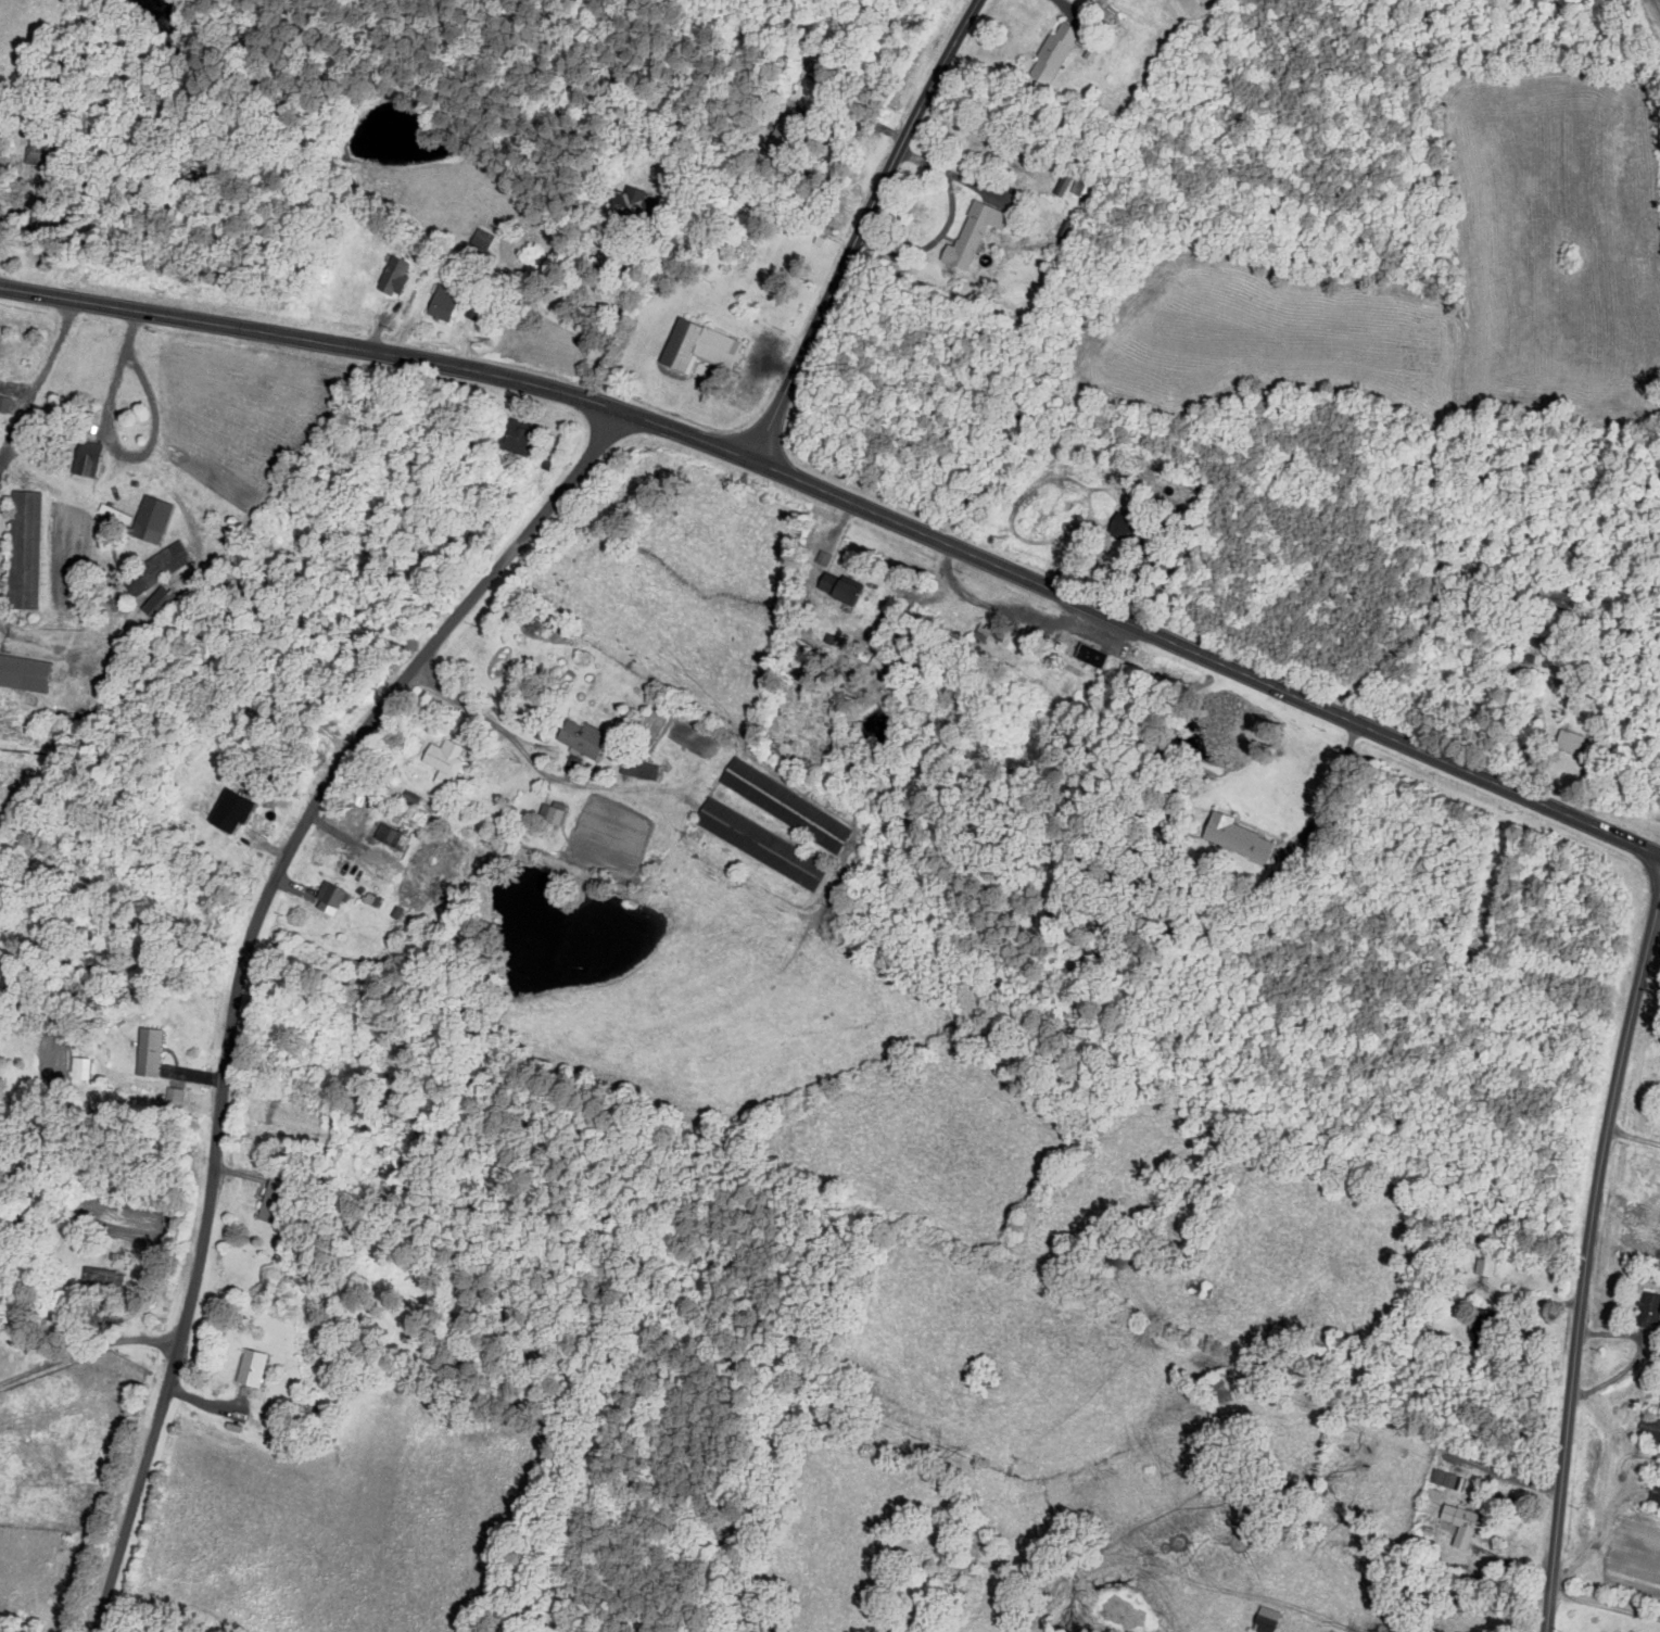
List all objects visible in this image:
solar farm: (1659, 2)
building: (1051, 52)
building: (625, 202)
road: (867, 232)
building: (970, 233)
building: (481, 239)
building: (393, 275)
building: (439, 306)
building: (697, 346)
road: (385, 349)
building: (3, 403)
building: (511, 434)
building: (85, 457)
building: (150, 519)
building: (23, 549)
building: (151, 572)
building: (837, 589)
building: (156, 603)
building: (1087, 655)
road: (1208, 661)
building: (23, 672)
building: (579, 737)
building: (1568, 741)
building: (441, 761)
building: (637, 769)
building: (783, 805)
building: (228, 811)
building: (550, 812)
building: (389, 835)
building: (1234, 836)
building: (759, 844)
building: (329, 898)
road: (252, 972)
building: (147, 1052)
building: (81, 1067)
building: (173, 1095)
building: (1484, 1267)
road: (1587, 1276)
building: (101, 1278)
building: (1646, 1311)
road: (88, 1344)
building: (249, 1368)
building: (1648, 1428)
building: (1443, 1478)
building: (1431, 1501)
building: (1459, 1525)
building: (1264, 1618)

